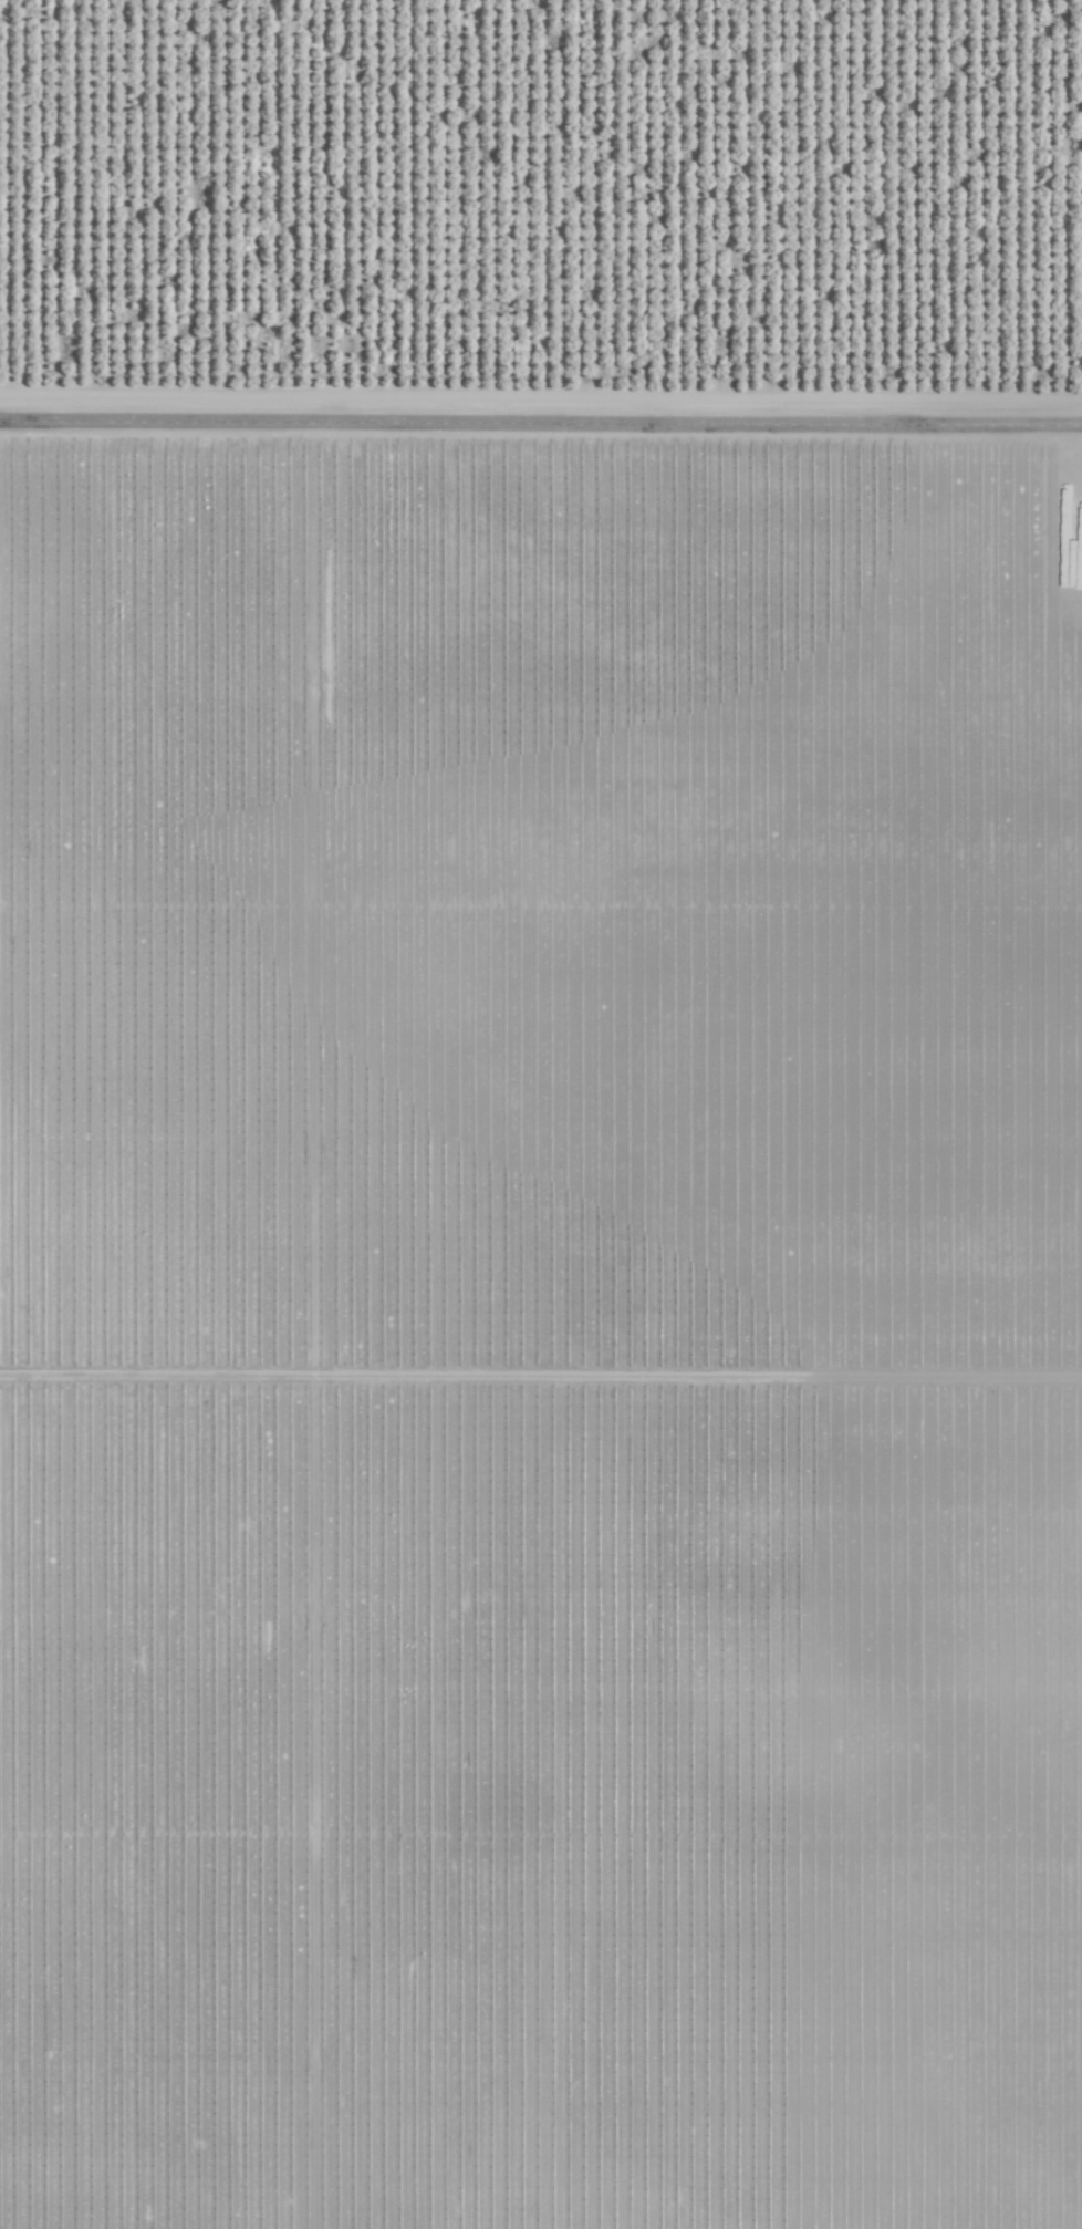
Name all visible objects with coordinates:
road: (541, 431)

